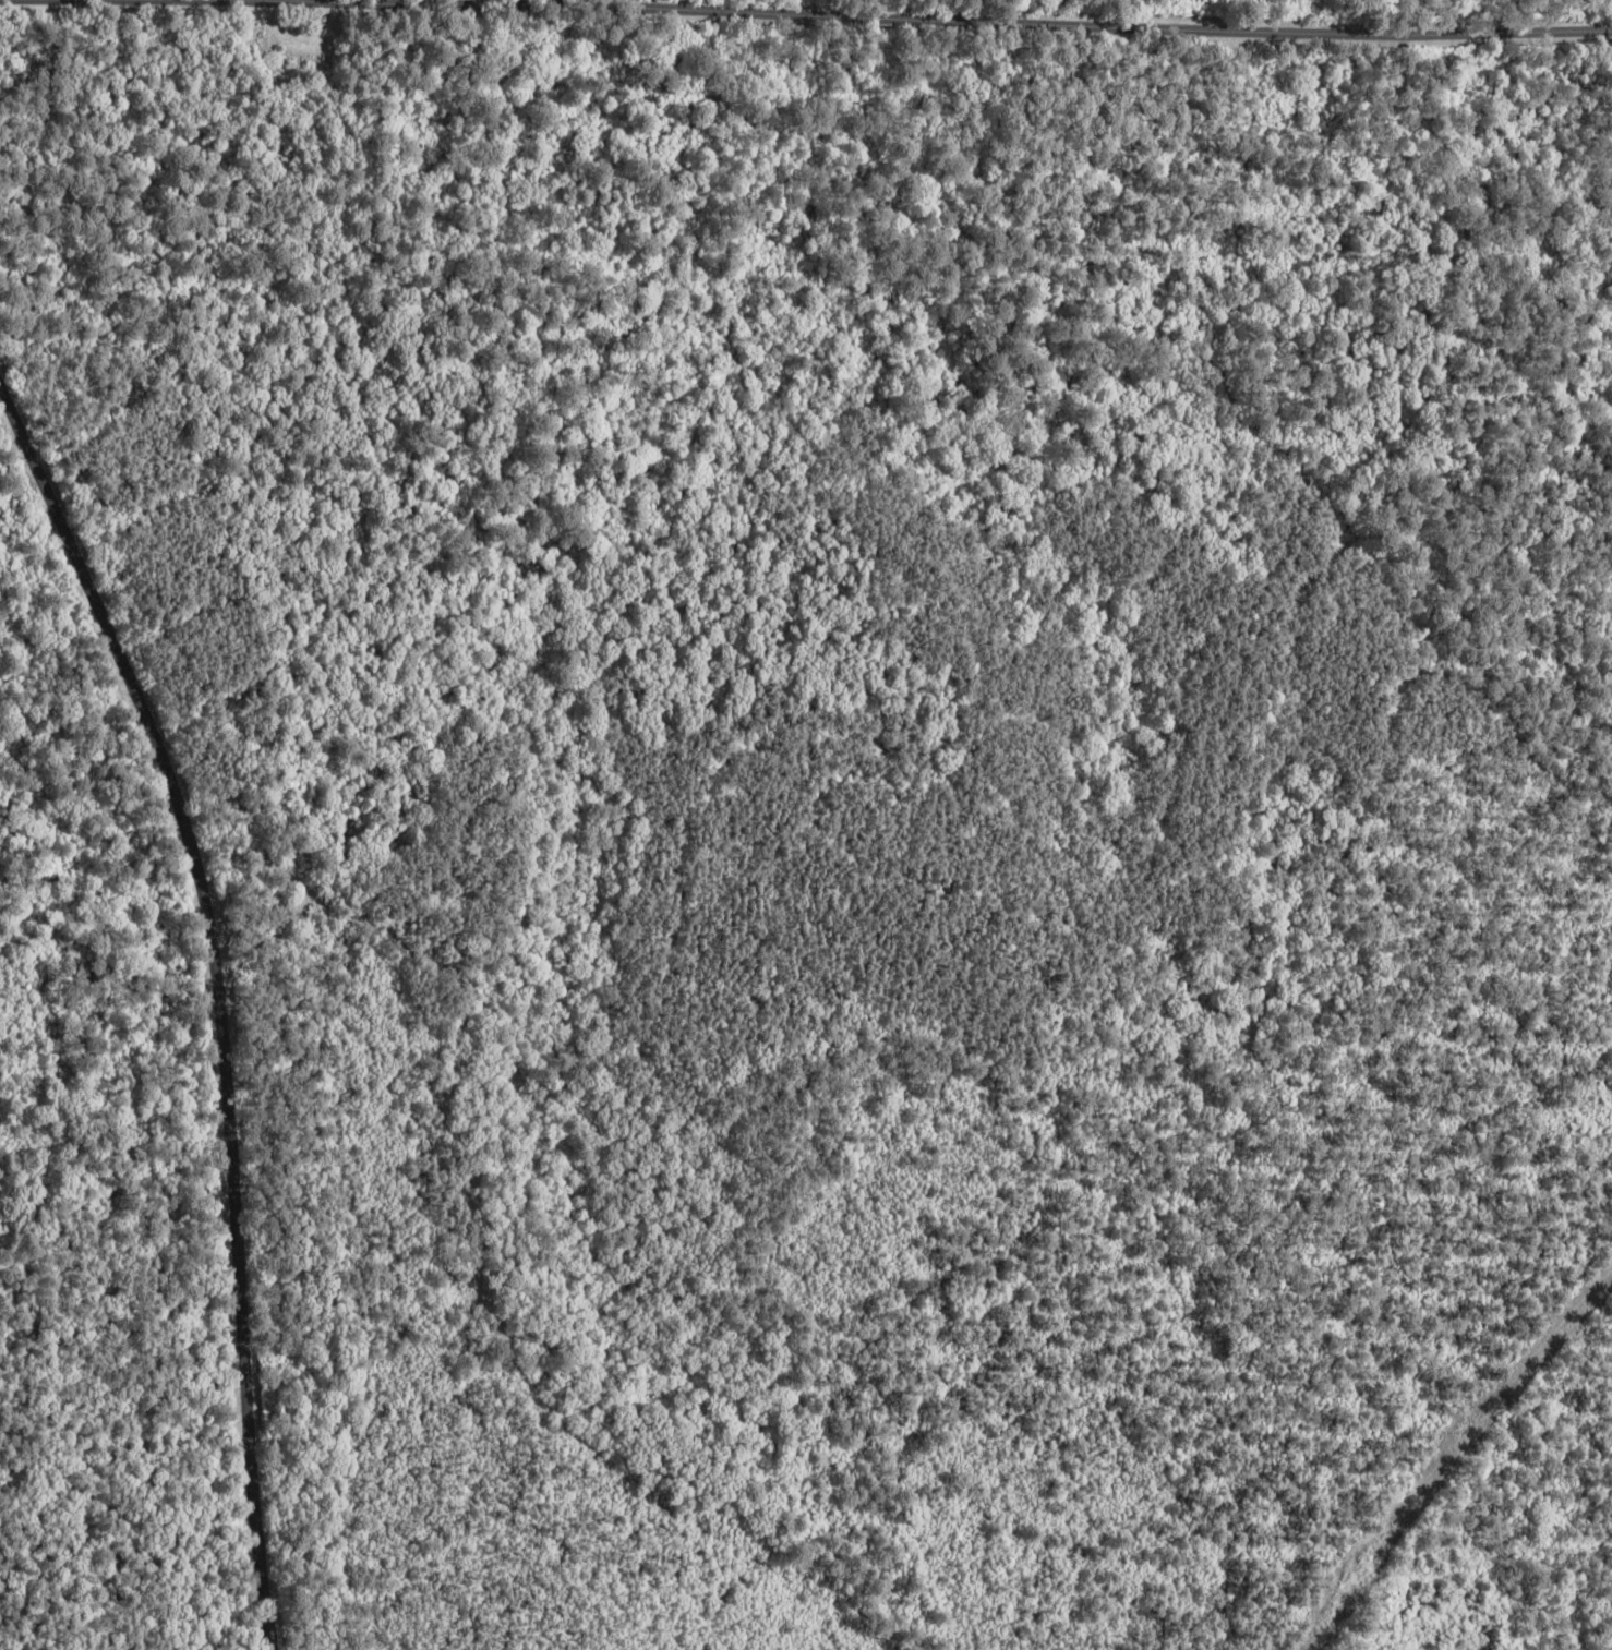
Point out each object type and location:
road: (903, 19)
road: (797, 137)
road: (210, 998)
road: (1456, 1455)

